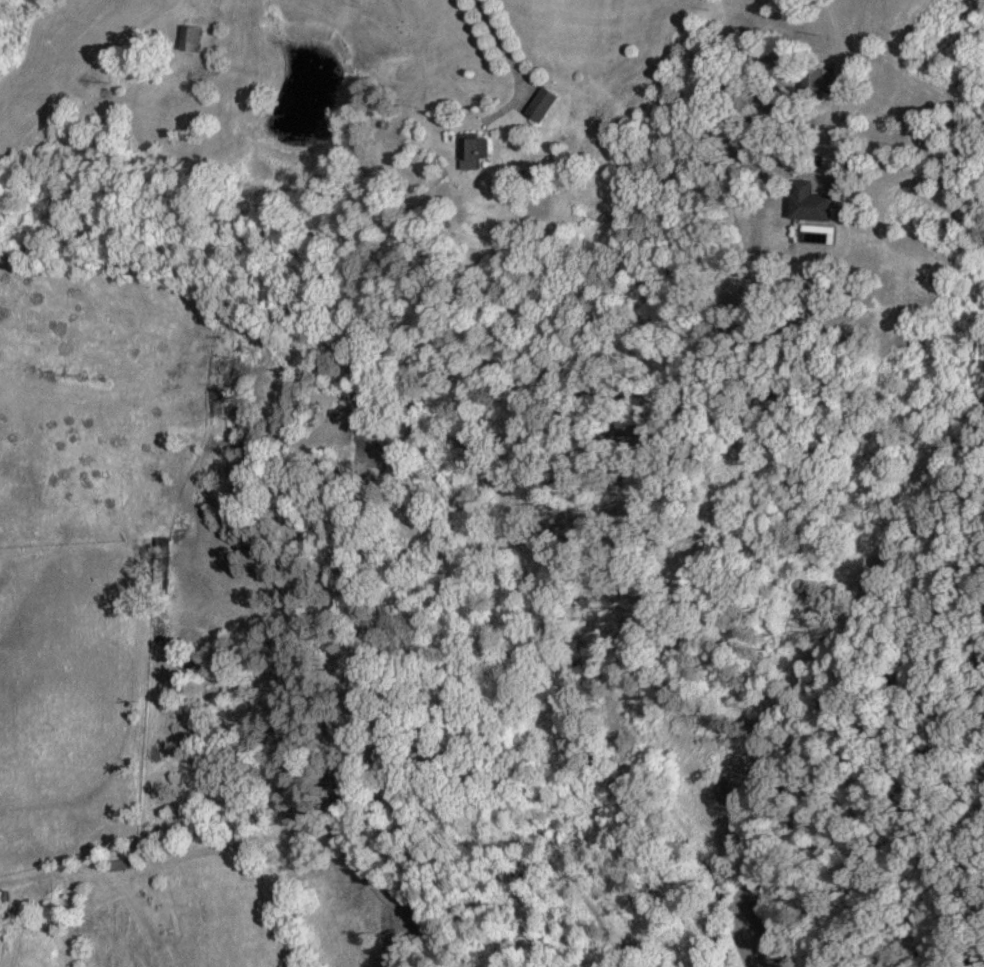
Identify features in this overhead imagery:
road: (502, 54)
road: (835, 77)

